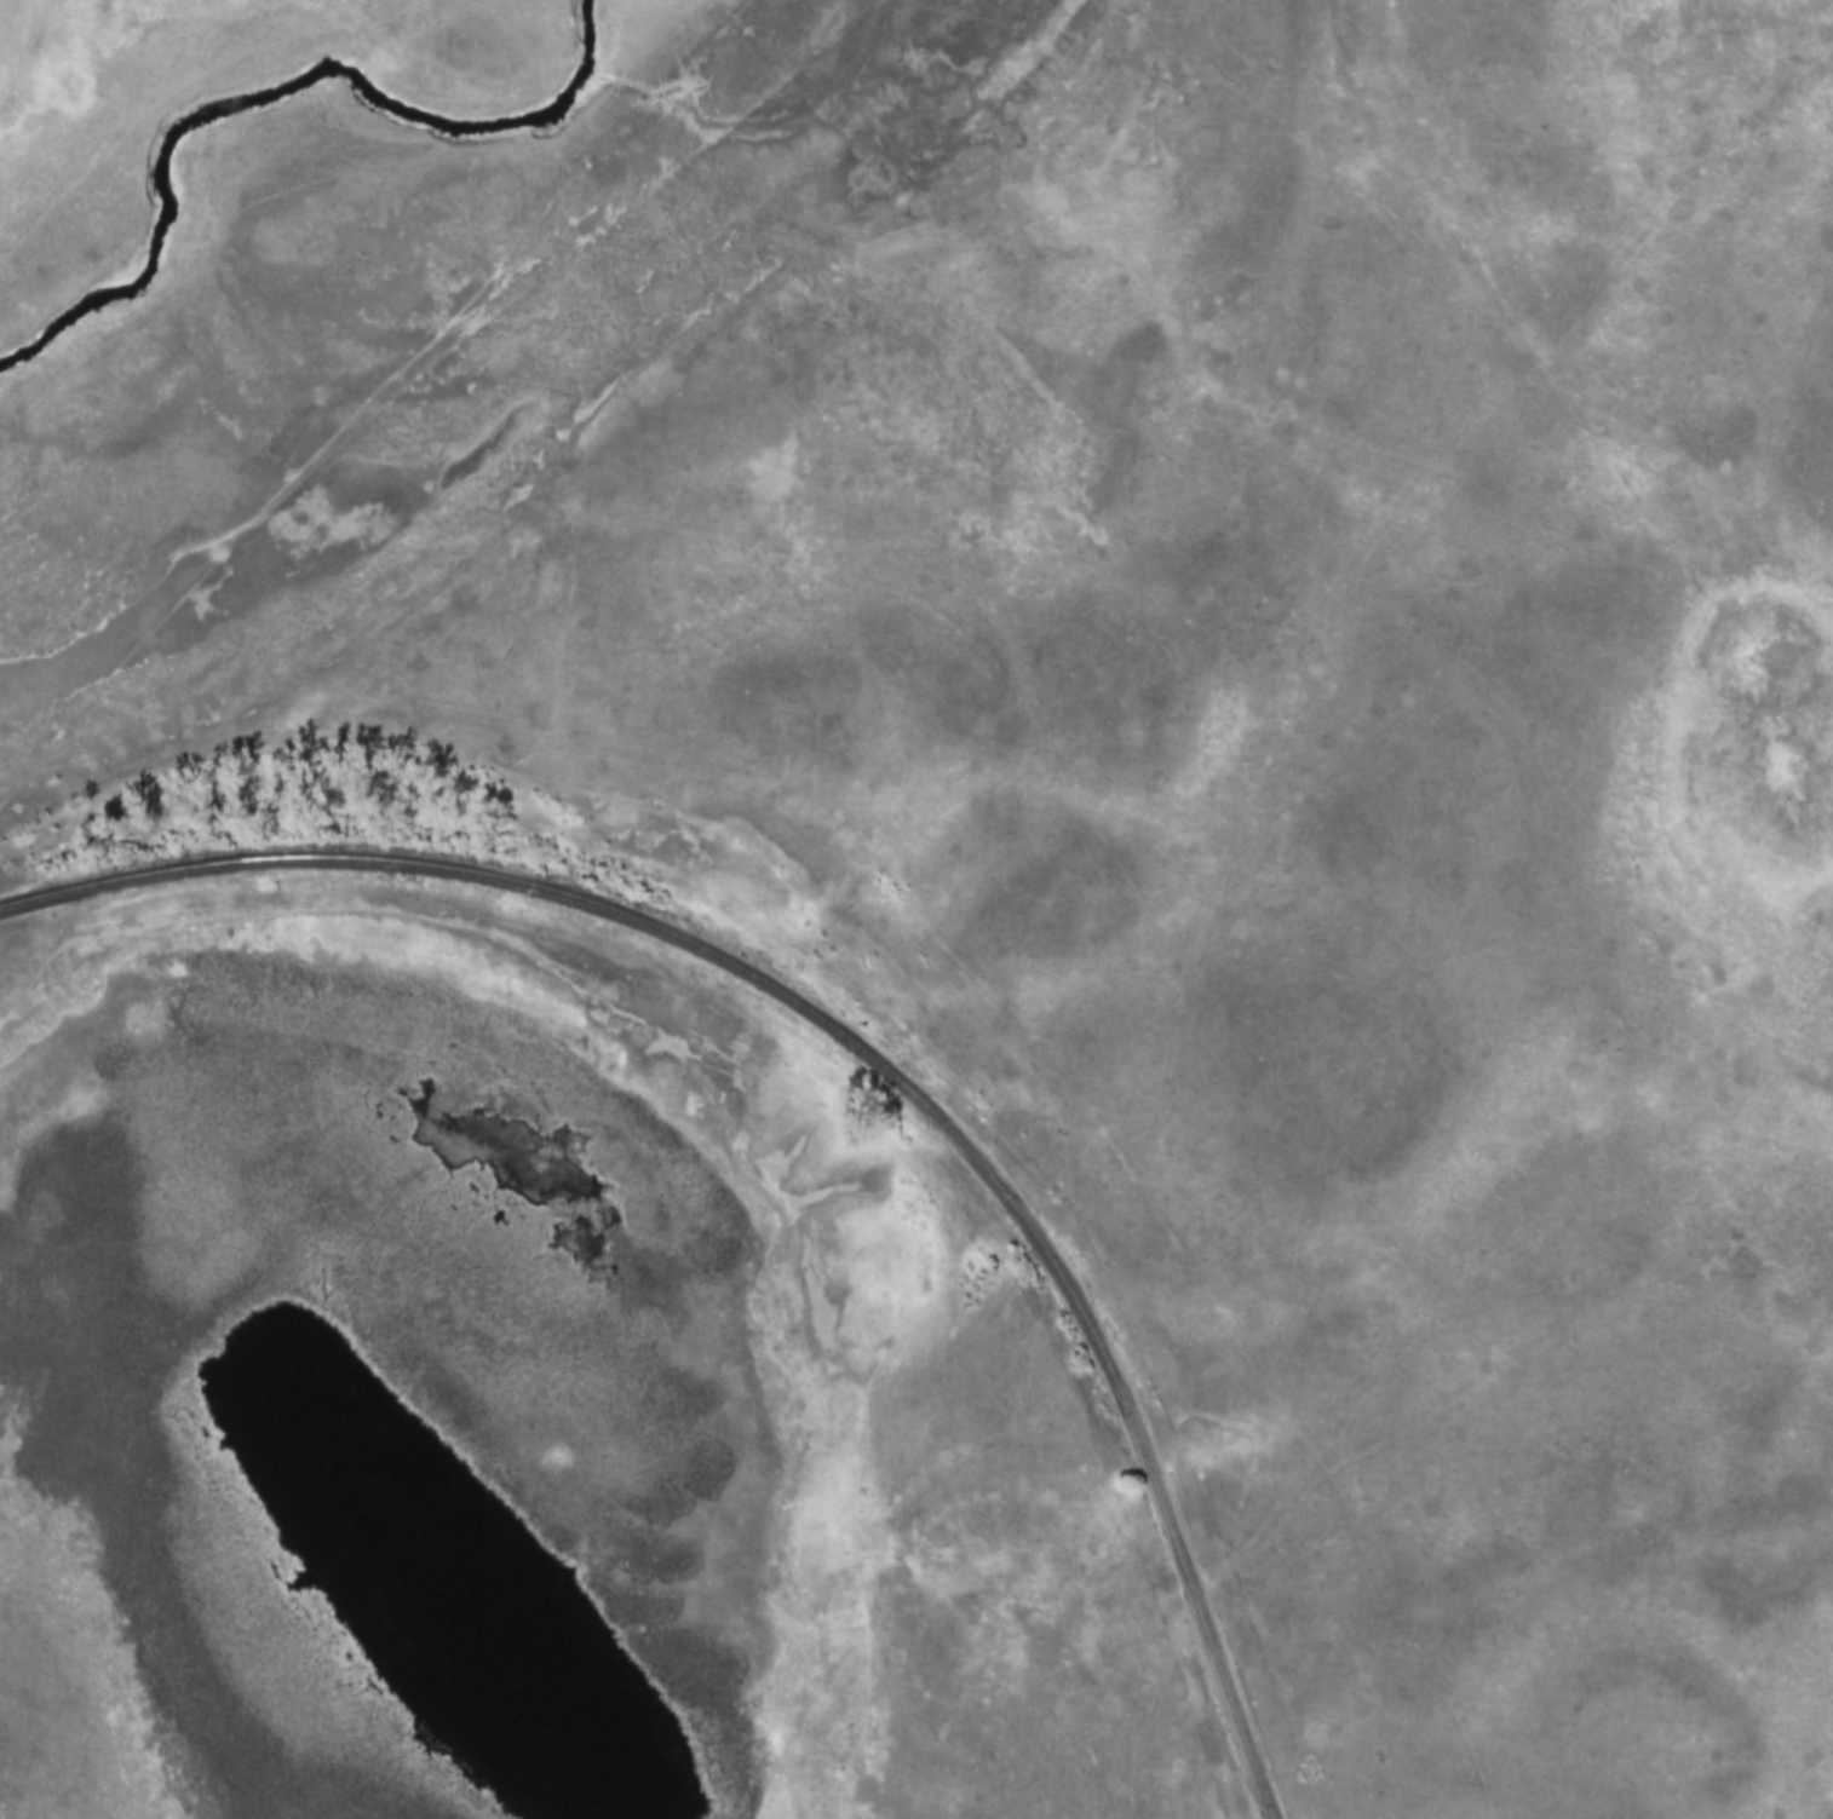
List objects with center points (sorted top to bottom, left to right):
railway: (812, 1087)

